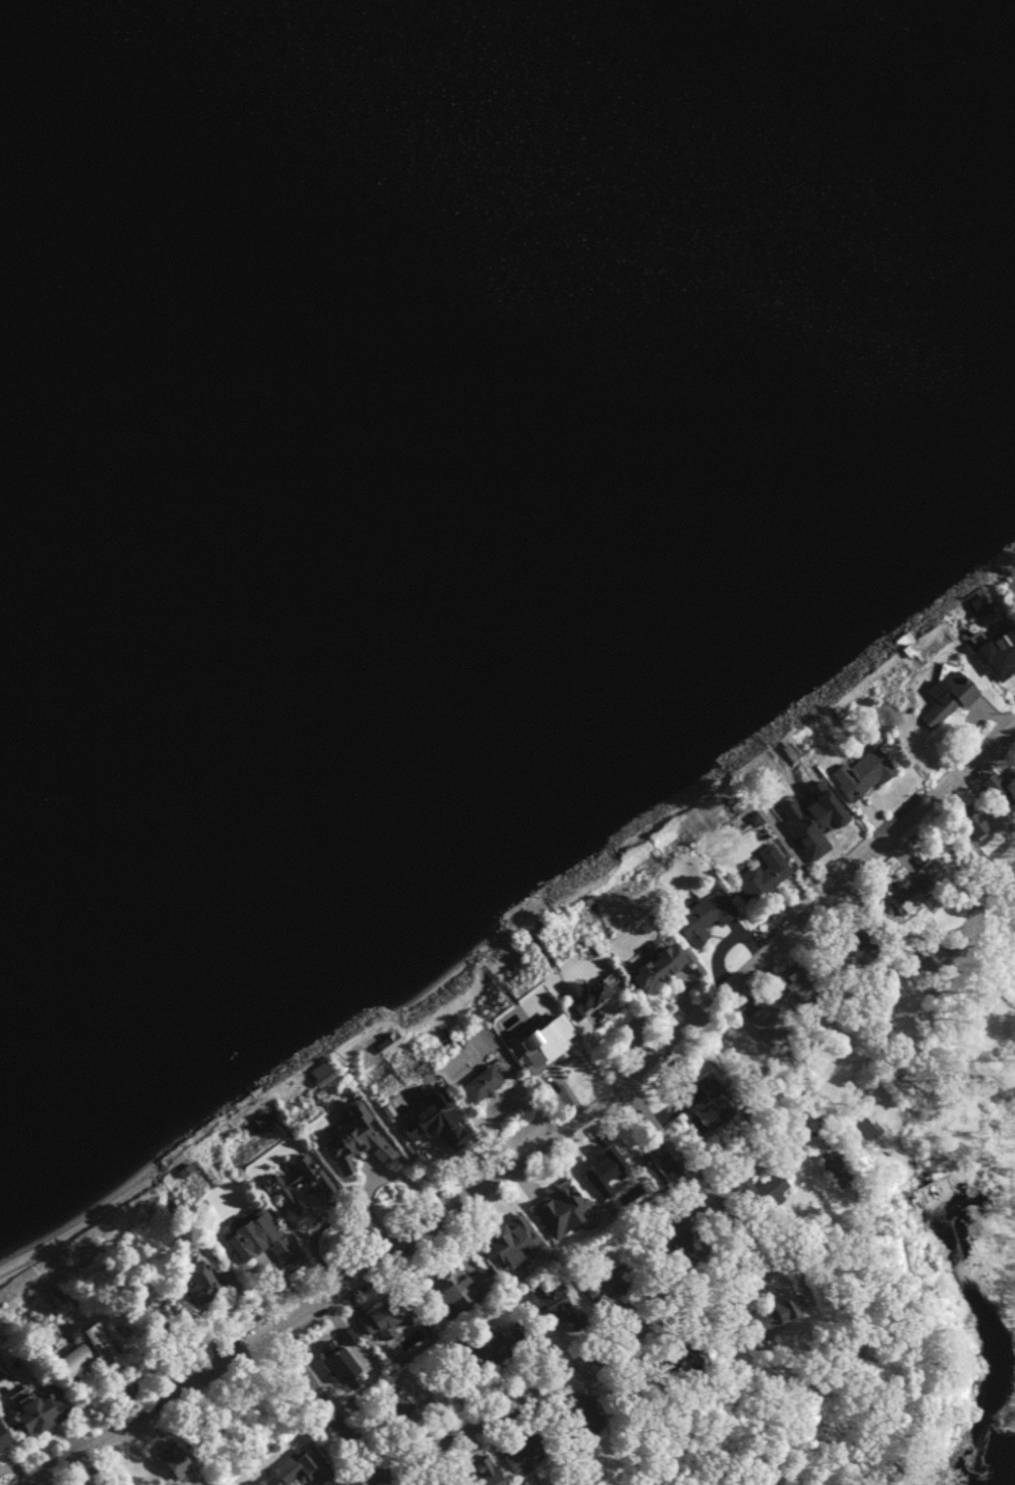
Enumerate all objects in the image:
building: (1013, 613)
building: (1002, 666)
building: (936, 697)
building: (852, 774)
building: (987, 784)
building: (805, 820)
building: (759, 879)
building: (905, 889)
building: (698, 918)
road: (434, 1007)
building: (527, 1037)
road: (310, 1079)
building: (473, 1083)
building: (707, 1115)
road: (232, 1118)
road: (562, 1144)
road: (183, 1148)
building: (354, 1154)
road: (156, 1173)
road: (376, 1176)
road: (700, 1181)
building: (293, 1193)
building: (935, 1195)
building: (561, 1210)
building: (244, 1235)
building: (512, 1243)
road: (30, 1260)
building: (598, 1278)
building: (461, 1287)
building: (550, 1304)
building: (772, 1315)
building: (490, 1347)
building: (70, 1354)
road: (584, 1378)
road: (335, 1409)
building: (28, 1414)
building: (510, 1457)
building: (173, 1468)
building: (304, 1468)
building: (472, 1474)
river: (1003, 1476)

